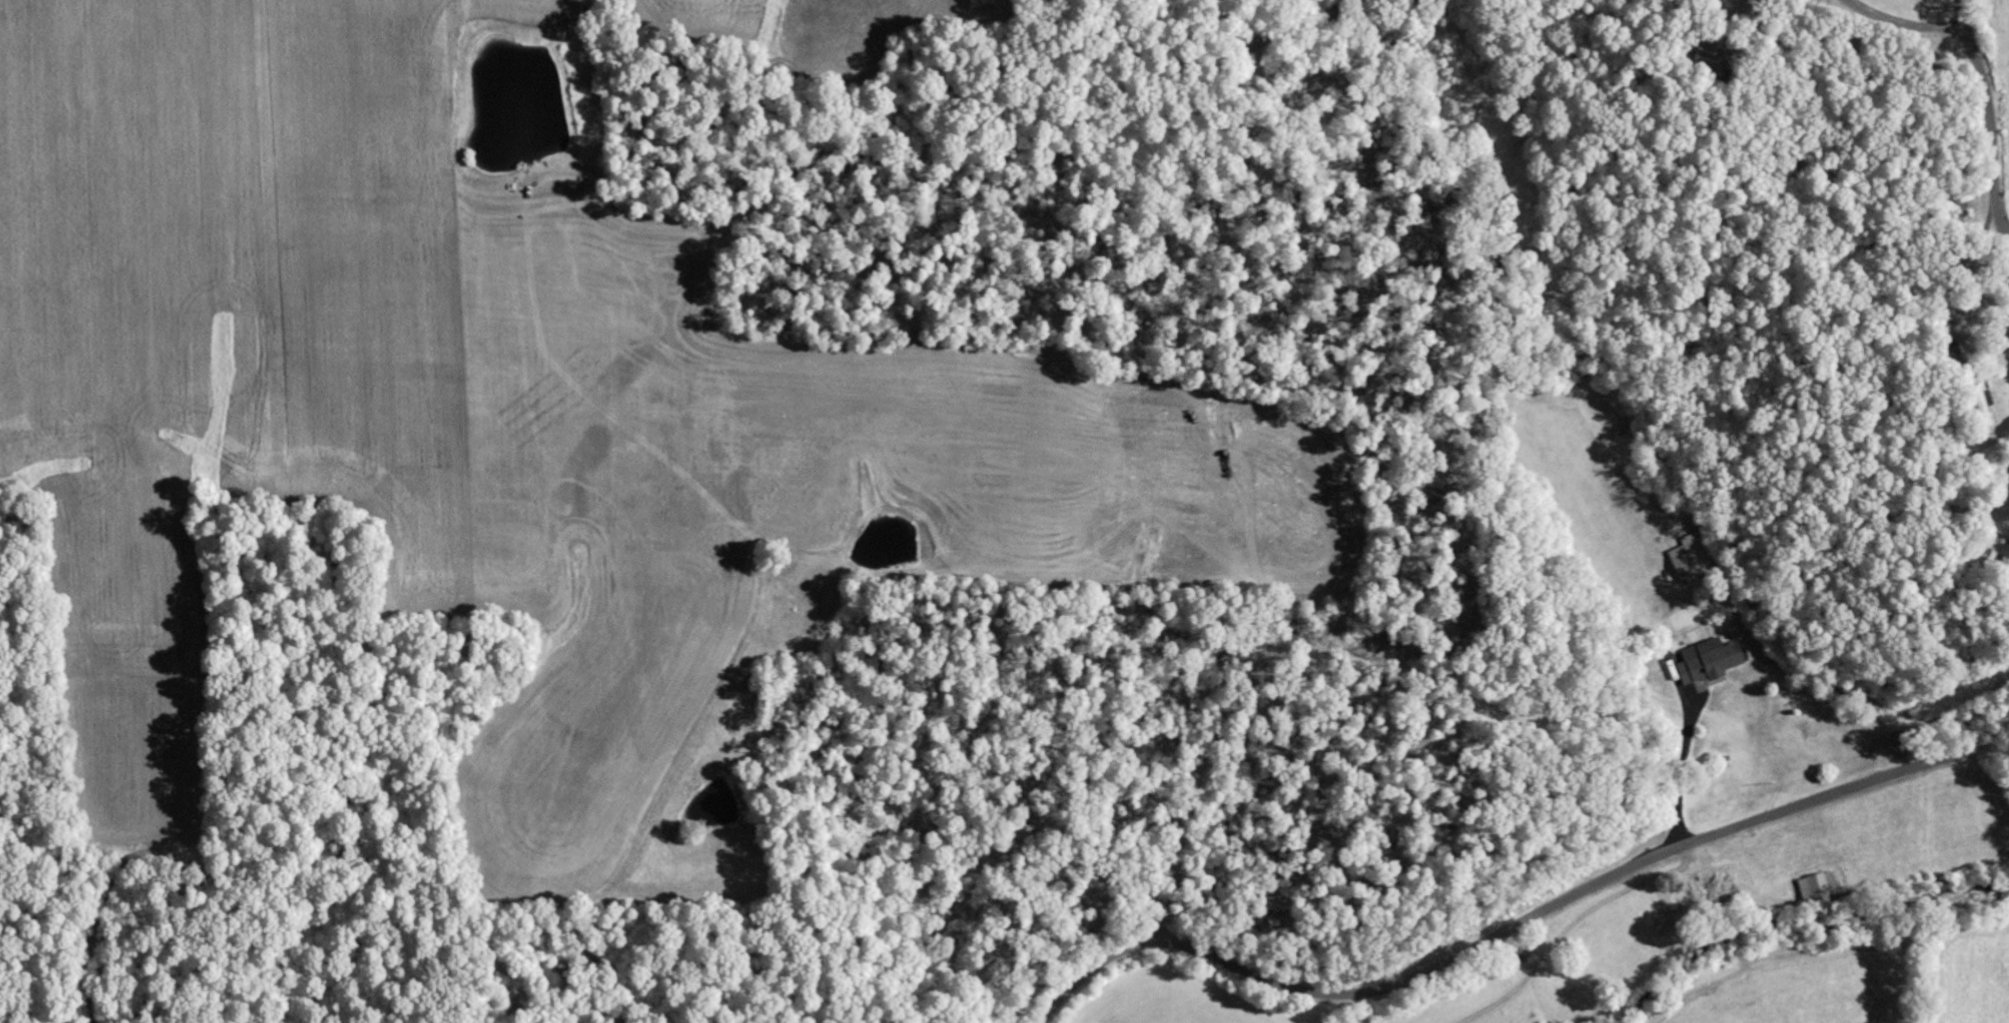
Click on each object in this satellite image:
building: (1708, 62)
road: (1989, 118)
building: (1950, 356)
building: (1983, 407)
building: (2001, 551)
building: (1711, 662)
road: (1515, 925)

